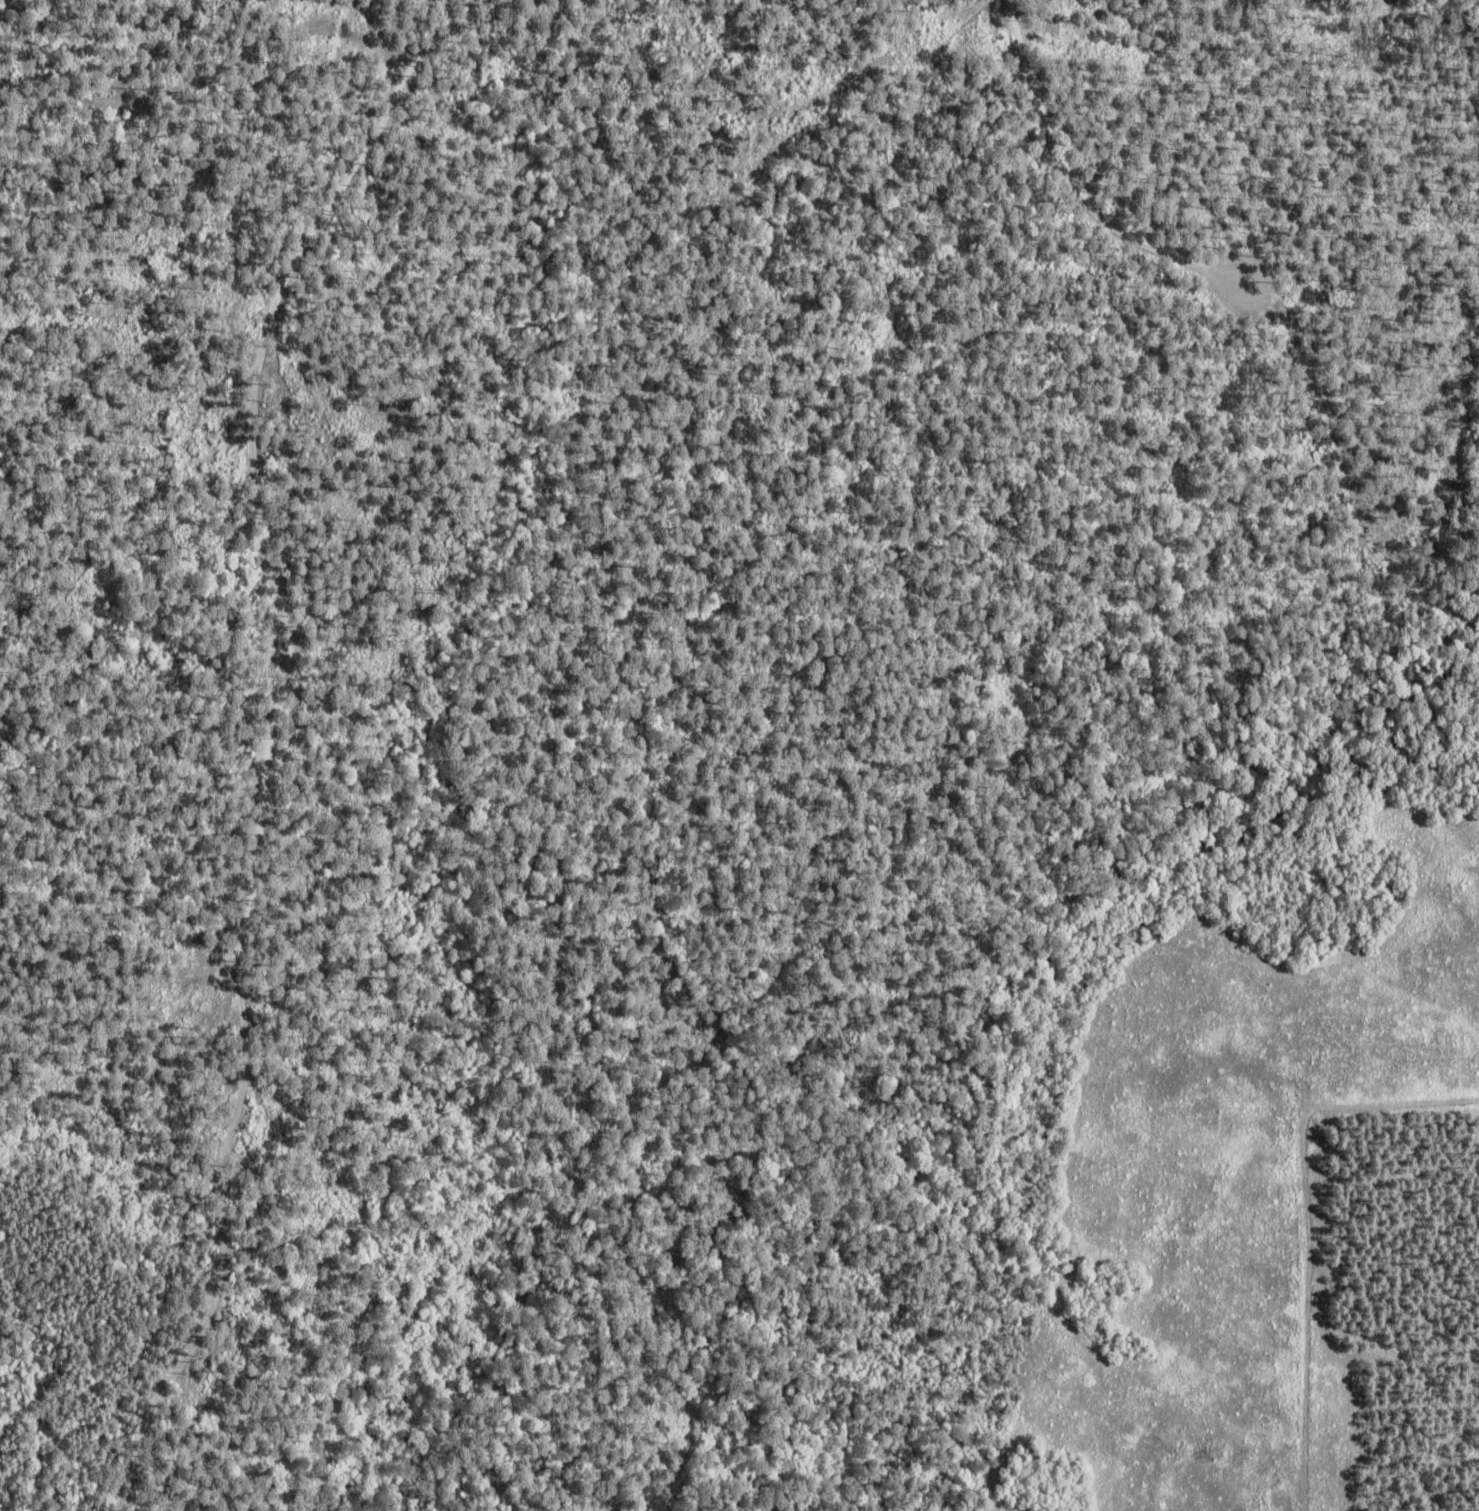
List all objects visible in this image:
road: (1071, 180)
road: (1338, 465)
road: (287, 648)

